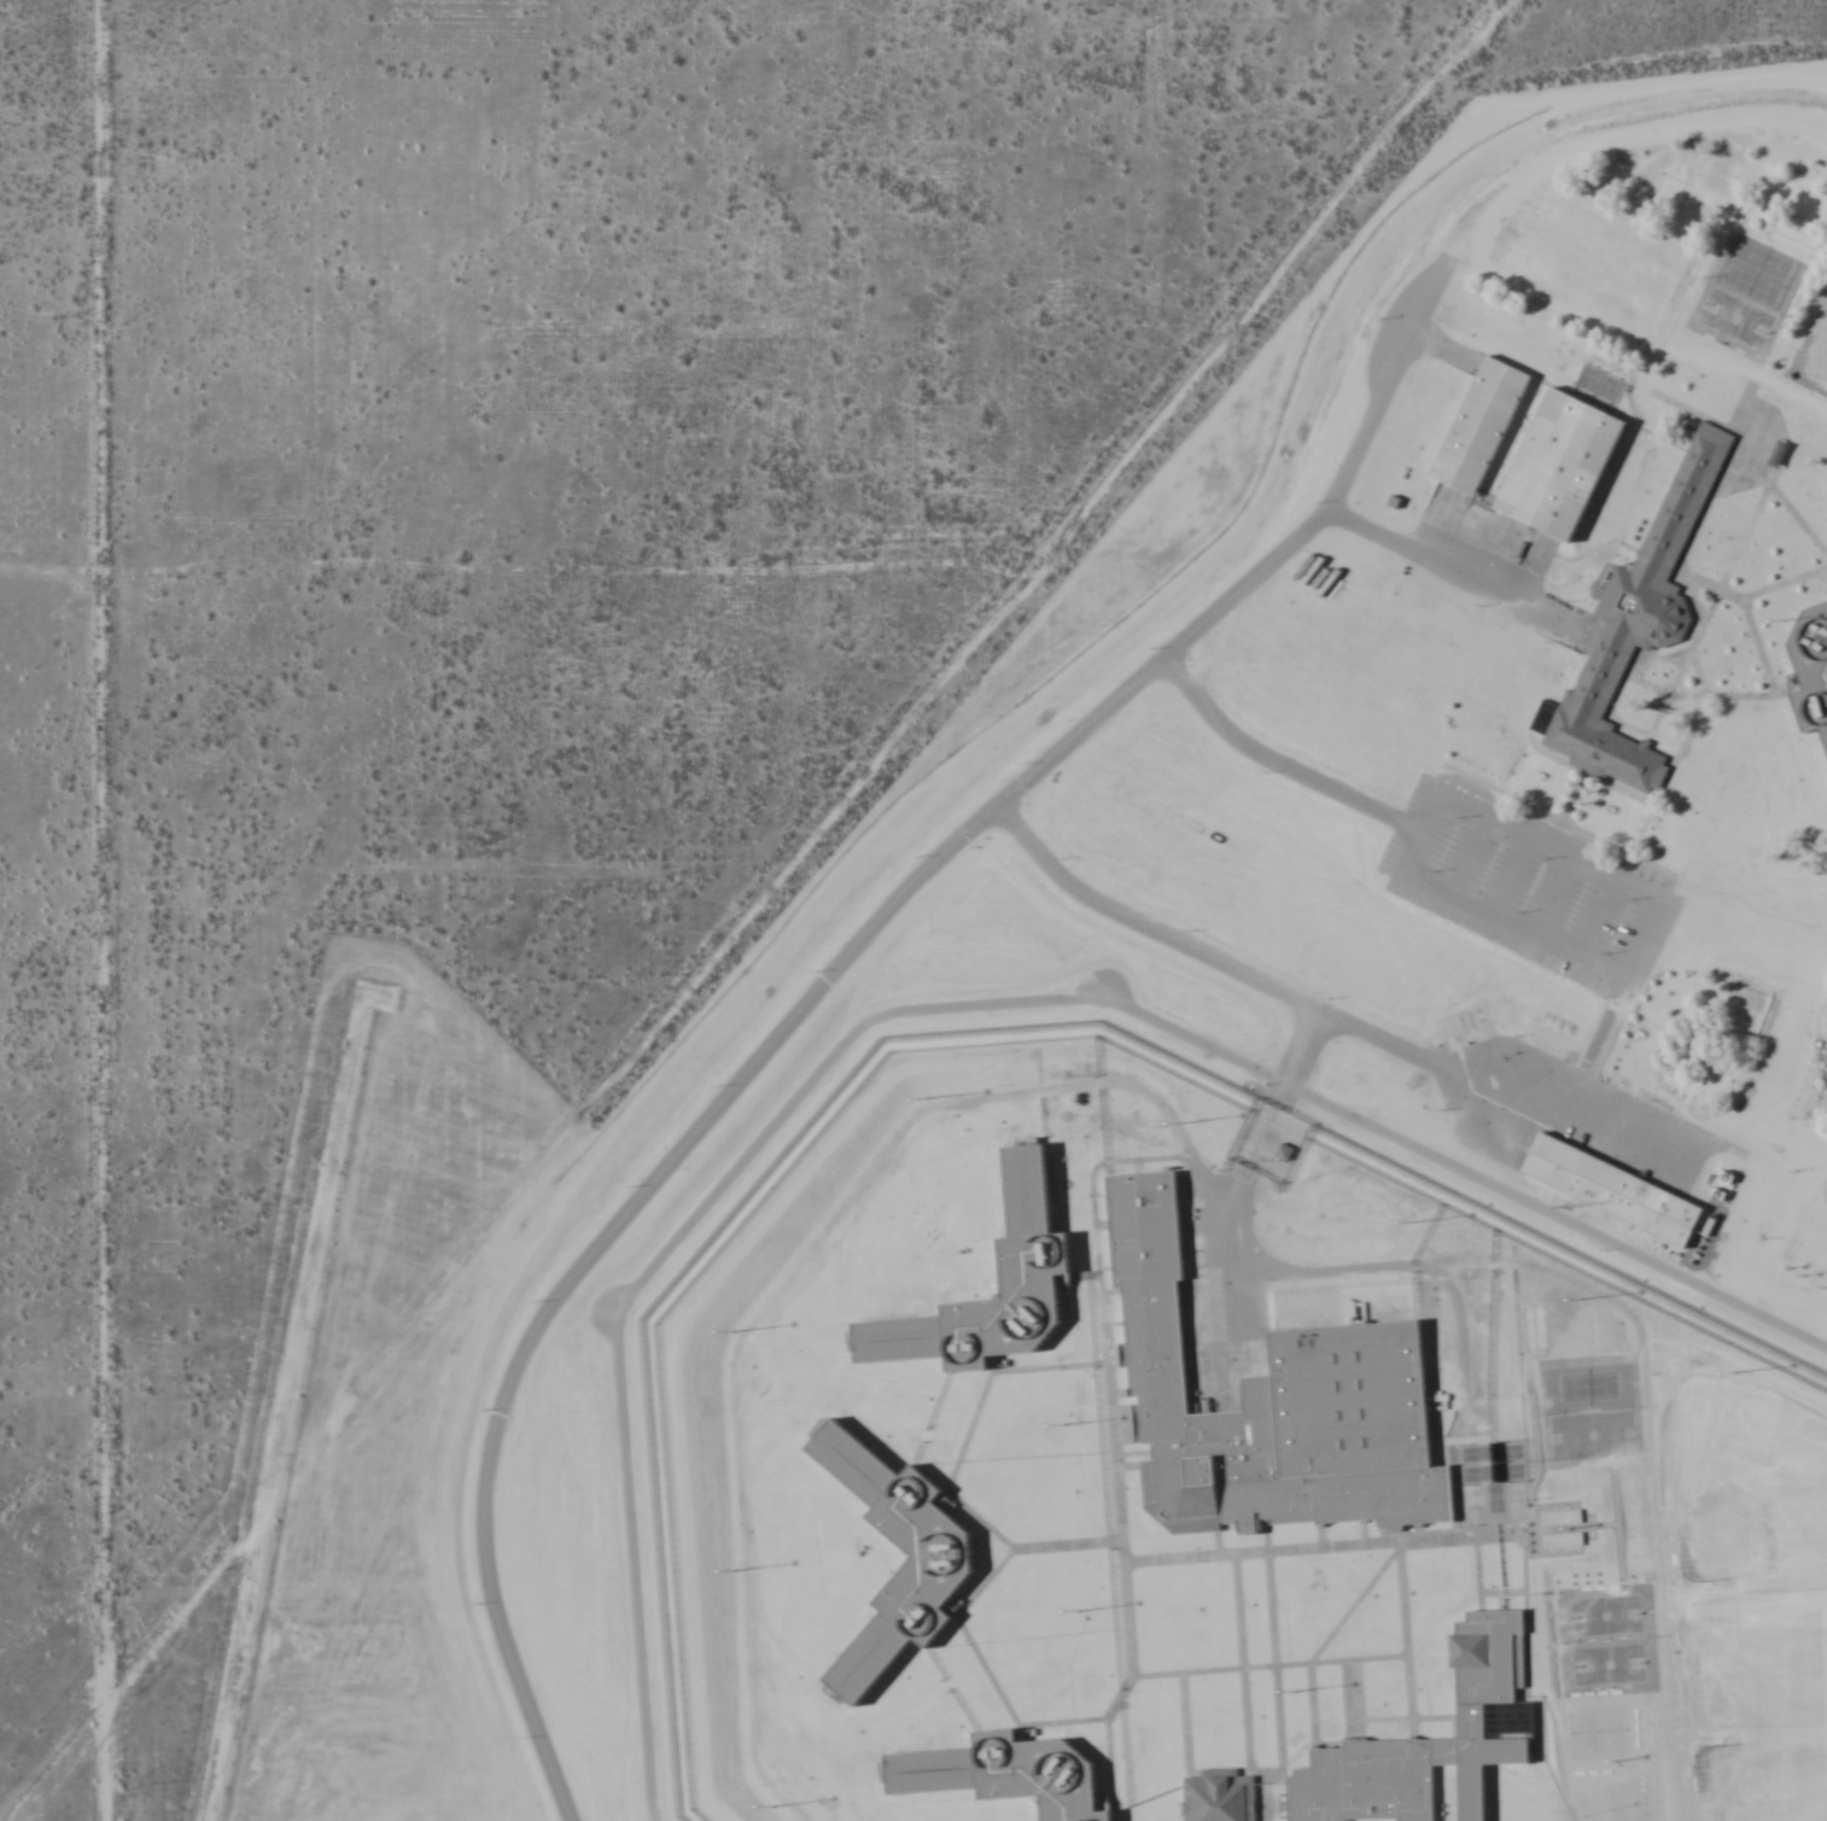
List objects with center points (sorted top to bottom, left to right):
park: (1721, 168)
park: (1671, 177)
park: (1604, 255)
park: (1762, 258)
park: (1750, 285)
park: (1734, 316)
road: (1444, 349)
park: (1813, 352)
building: (1477, 426)
building: (1558, 465)
road: (1455, 568)
building: (1634, 624)
building: (1811, 669)
road: (1278, 764)
road: (1469, 853)
road: (1511, 874)
parking lot: (1528, 886)
road: (1554, 894)
road: (1597, 915)
road: (1622, 975)
road: (824, 980)
road: (938, 1005)
road: (1327, 1012)
road: (1595, 1051)
building: (1282, 1150)
road: (1241, 1180)
building: (1607, 1189)
building: (1033, 1255)
park: (1588, 1384)
building: (1268, 1402)
park: (1588, 1435)
park: (1505, 1451)
park: (1475, 1453)
park: (1506, 1470)
park: (1476, 1472)
park: (1745, 1481)
park: (1494, 1496)
building: (1563, 1518)
building: (1564, 1541)
building: (938, 1563)
park: (1604, 1613)
park: (1756, 1659)
park: (1609, 1663)
park: (1611, 1729)
park: (1583, 1732)
building: (1428, 1739)
building: (1006, 1770)
park: (1763, 1784)
building: (1216, 1796)
park: (1621, 1798)
park: (1593, 1803)

